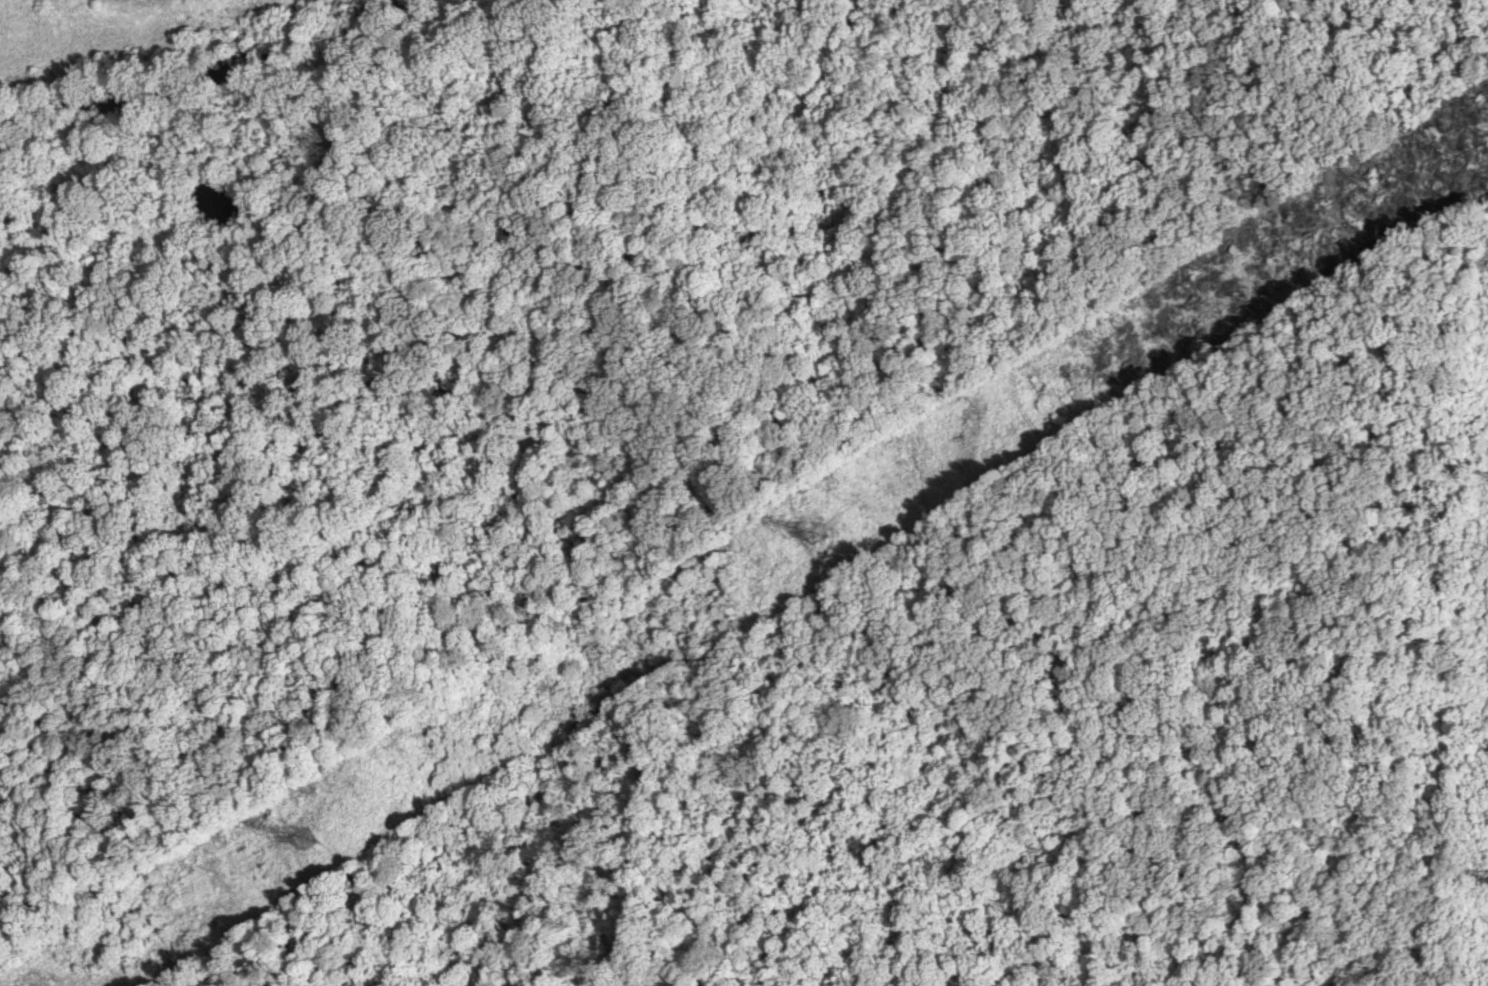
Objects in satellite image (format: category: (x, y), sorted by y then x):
river: (209, 69)
power tower: (825, 530)
power tower: (312, 835)

